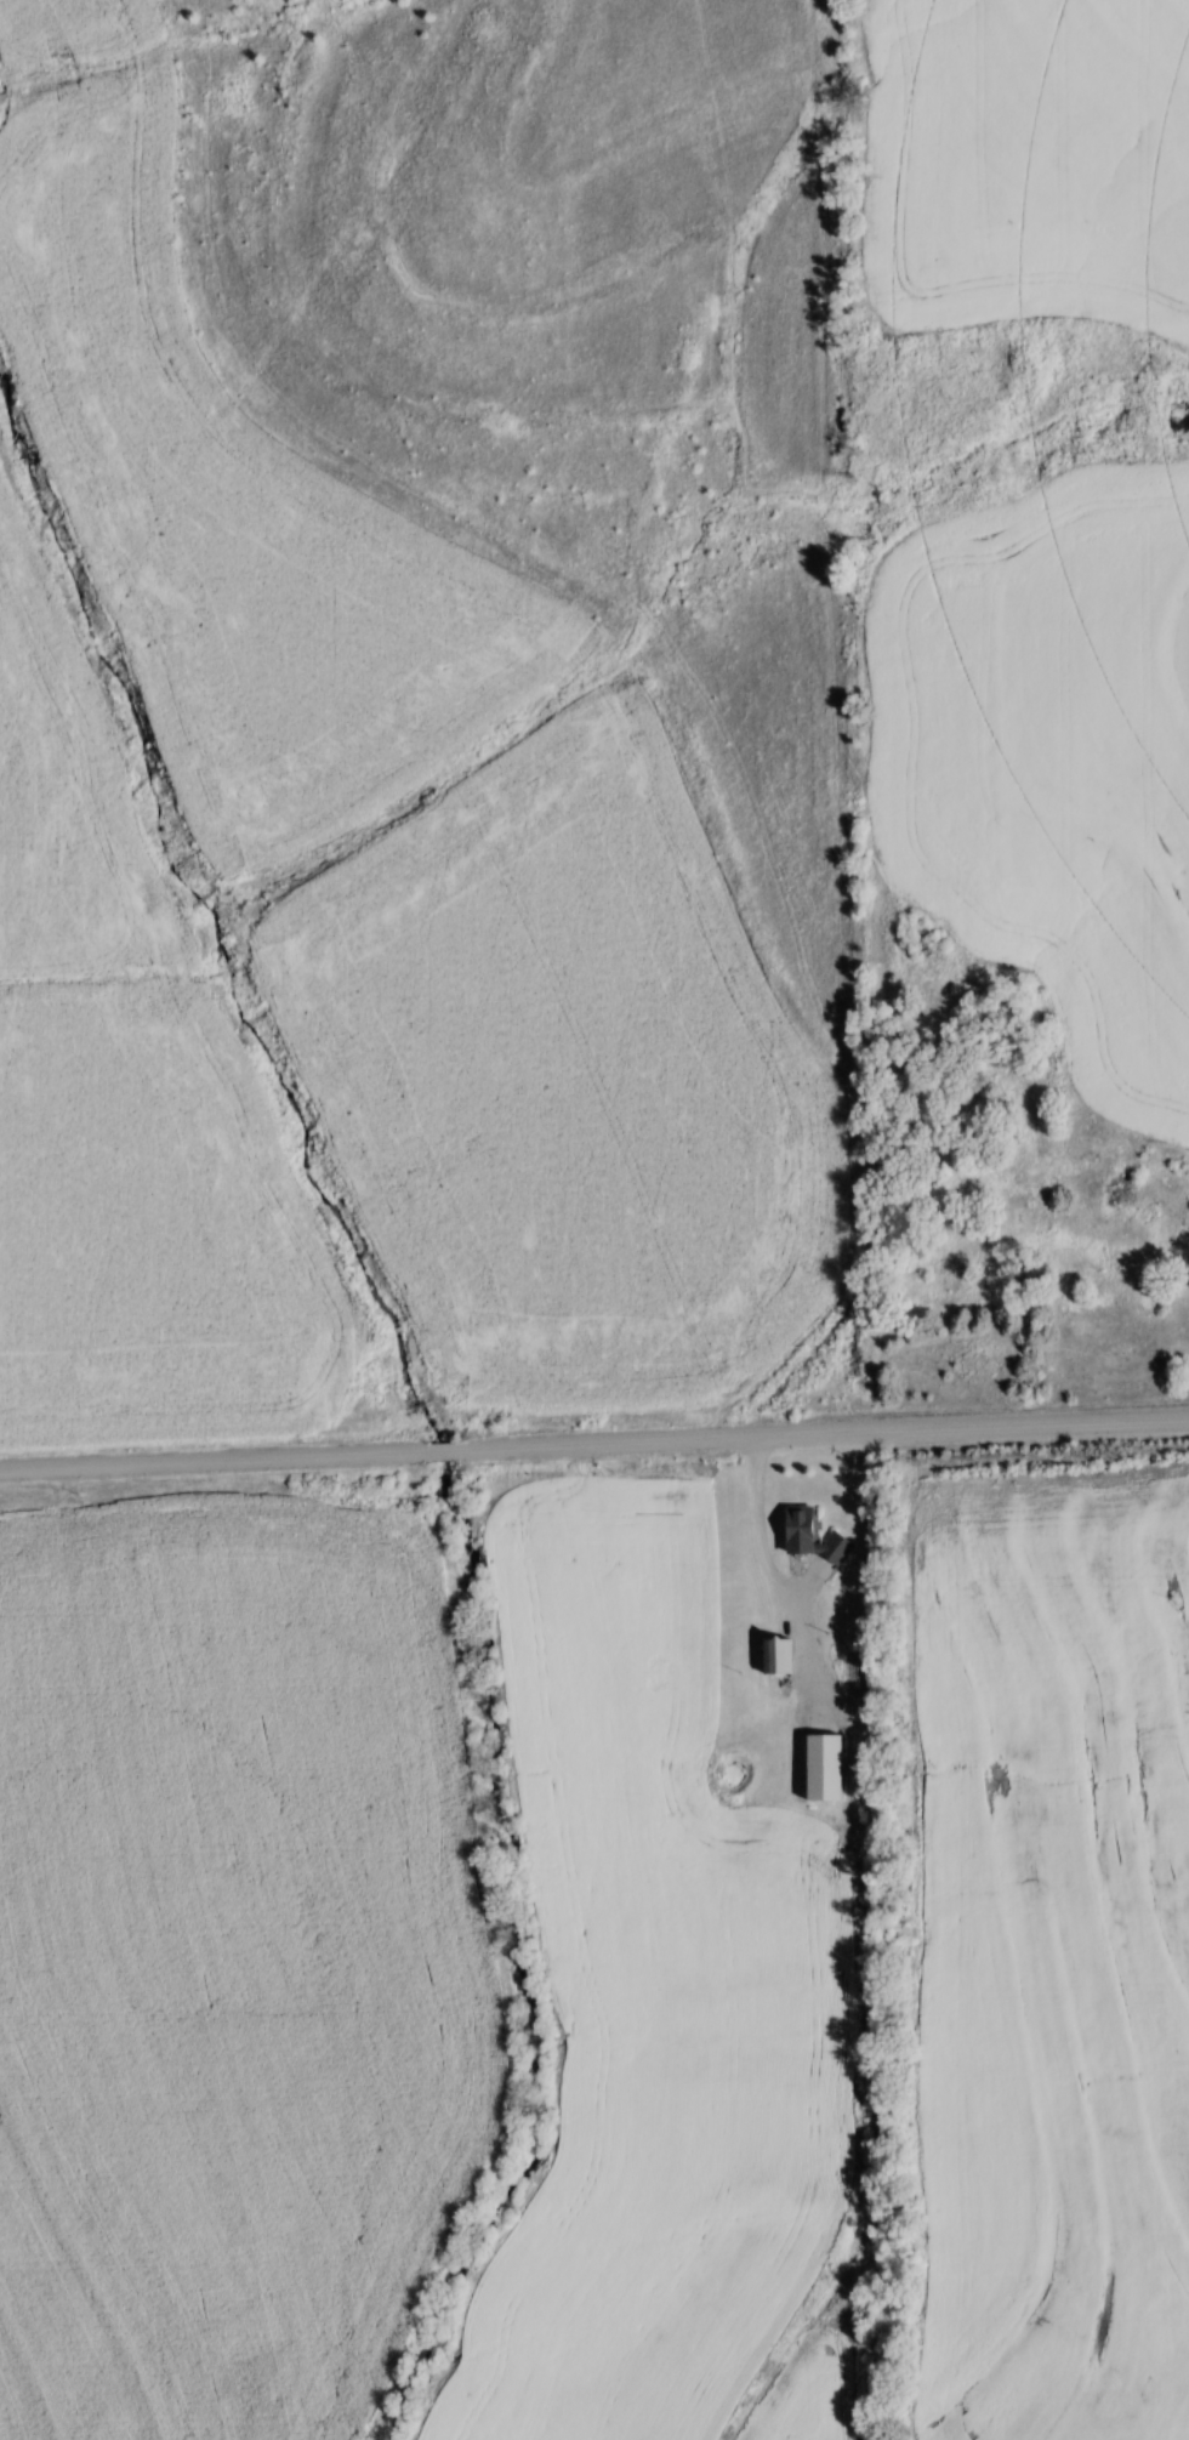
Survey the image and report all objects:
building: (6, 7)
road: (594, 1450)
building: (806, 1532)
road: (764, 1534)
building: (774, 1653)
building: (821, 1765)

